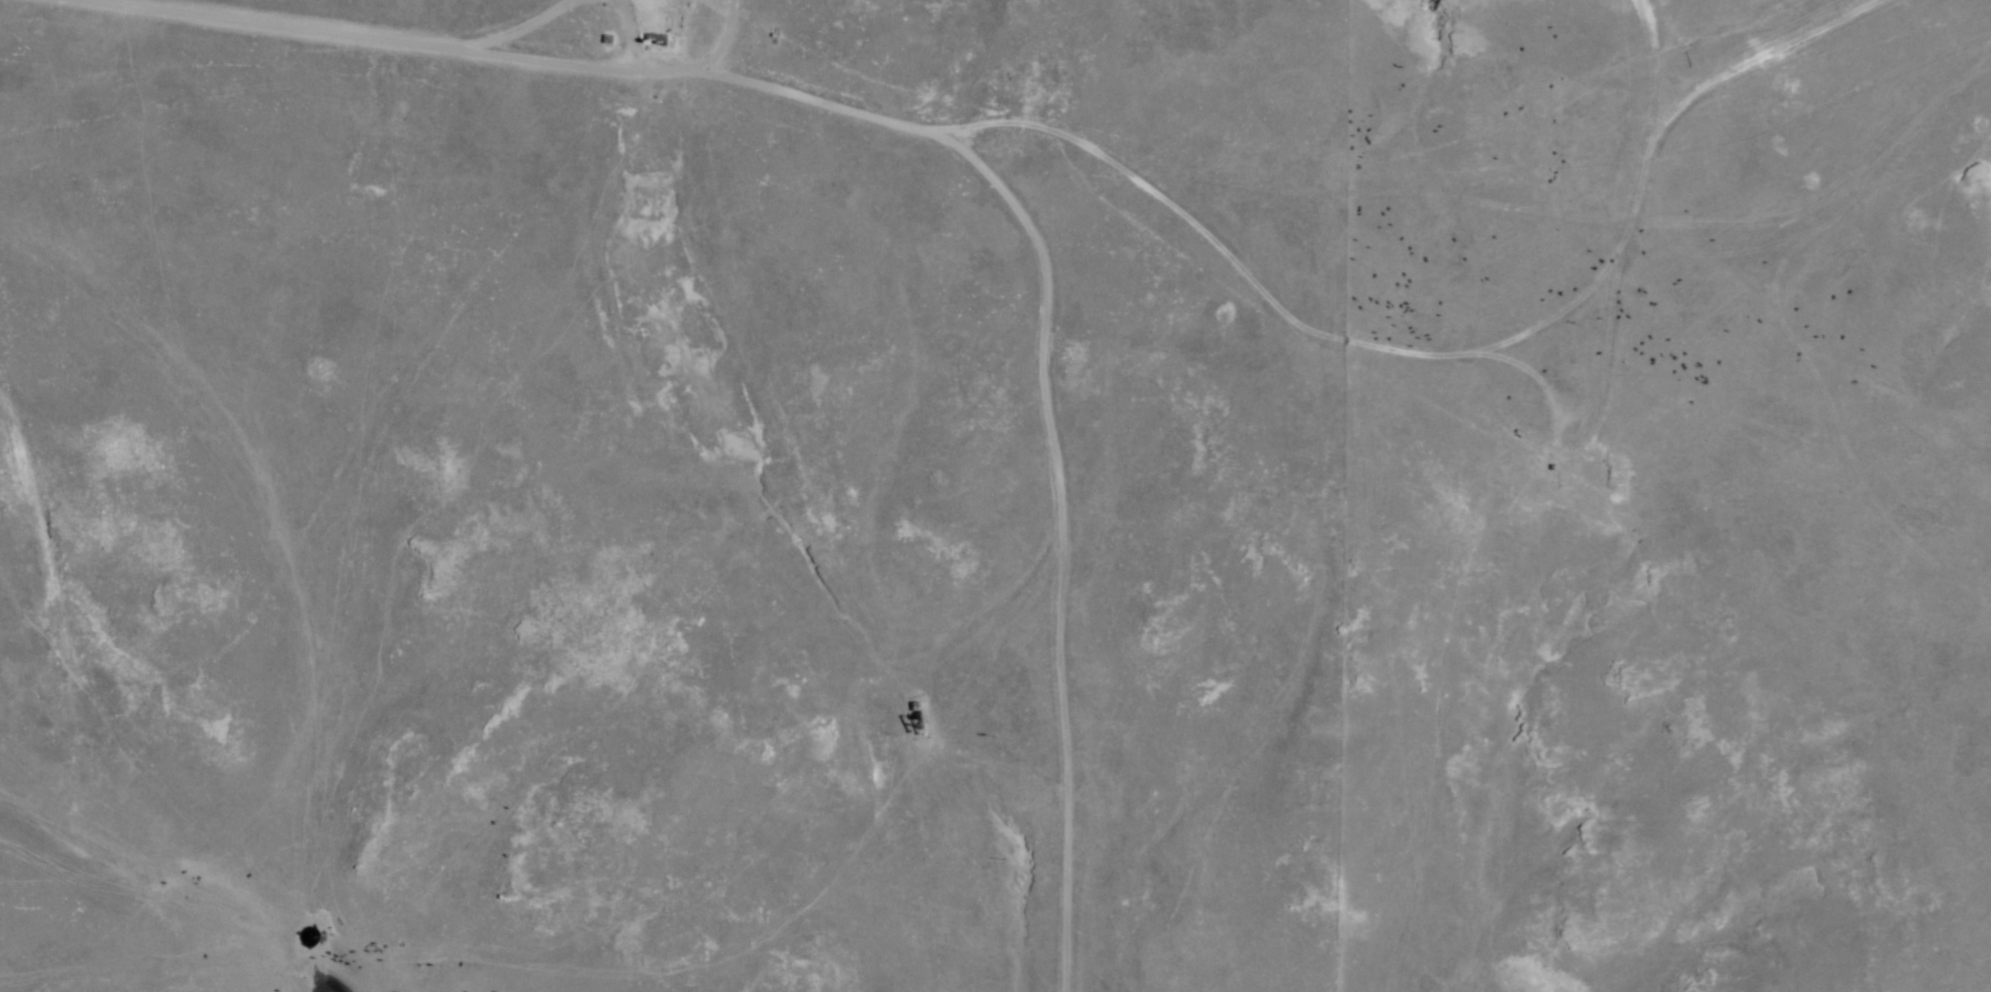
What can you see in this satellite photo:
road: (514, 32)
building: (660, 37)
road: (715, 51)
road: (1080, 147)
road: (1062, 531)
road: (928, 685)

